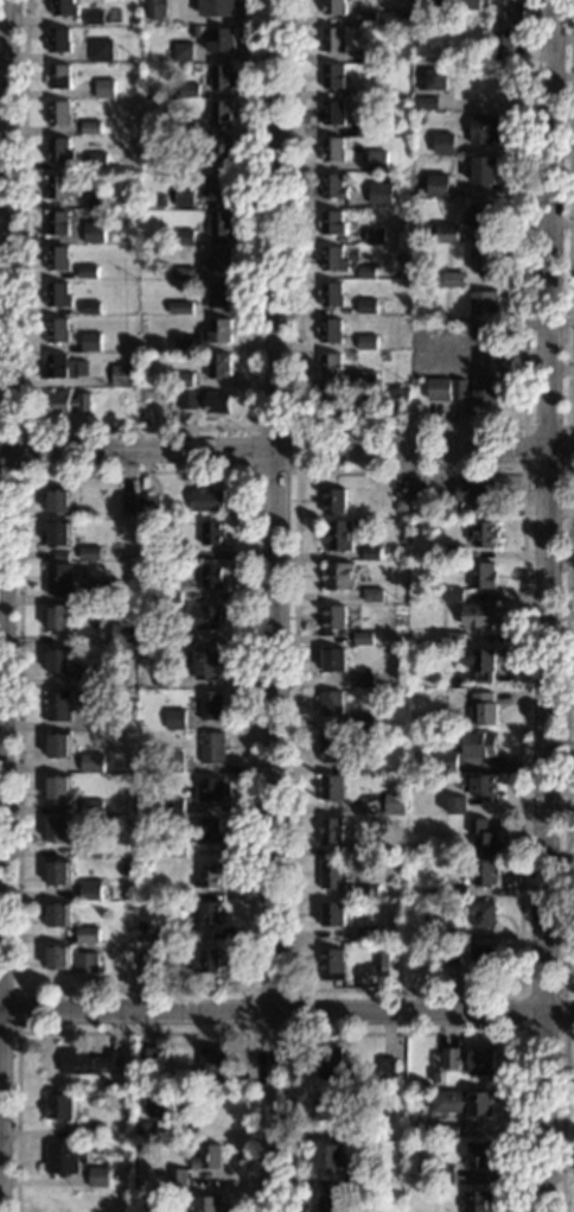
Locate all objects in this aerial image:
building: (508, 1)
building: (428, 5)
building: (465, 5)
building: (64, 7)
building: (217, 7)
building: (334, 7)
building: (157, 8)
building: (95, 17)
building: (365, 17)
building: (404, 17)
building: (135, 31)
building: (193, 31)
building: (332, 39)
building: (58, 40)
building: (222, 40)
building: (503, 44)
building: (100, 50)
building: (375, 52)
building: (181, 53)
building: (417, 65)
building: (58, 76)
building: (221, 76)
building: (332, 76)
building: (433, 78)
building: (103, 88)
building: (189, 90)
building: (359, 91)
building: (426, 102)
building: (58, 113)
building: (219, 113)
building: (332, 113)
building: (420, 119)
building: (90, 127)
building: (185, 127)
building: (364, 127)
building: (484, 128)
building: (444, 144)
building: (58, 150)
building: (219, 150)
building: (332, 150)
building: (199, 158)
building: (96, 161)
building: (184, 163)
building: (380, 163)
road: (1, 166)
building: (484, 171)
building: (438, 185)
building: (59, 186)
building: (217, 186)
building: (332, 186)
building: (459, 192)
building: (382, 193)
building: (96, 197)
building: (183, 197)
building: (161, 199)
road: (570, 215)
building: (485, 217)
building: (57, 222)
building: (332, 222)
building: (219, 223)
building: (429, 229)
building: (94, 231)
building: (448, 233)
building: (185, 235)
building: (366, 235)
building: (164, 240)
building: (57, 258)
building: (219, 258)
building: (485, 258)
building: (332, 259)
building: (366, 271)
building: (87, 272)
building: (181, 272)
building: (453, 279)
building: (454, 292)
building: (218, 293)
building: (331, 293)
building: (57, 296)
building: (485, 303)
building: (366, 305)
building: (180, 306)
building: (90, 307)
building: (461, 323)
building: (56, 330)
building: (330, 330)
building: (216, 331)
building: (433, 334)
building: (90, 341)
building: (368, 342)
building: (183, 343)
building: (460, 354)
building: (218, 364)
building: (331, 366)
building: (60, 367)
building: (122, 375)
building: (181, 379)
building: (366, 379)
building: (439, 388)
building: (478, 391)
building: (396, 398)
building: (187, 399)
building: (65, 401)
building: (330, 402)
building: (217, 404)
road: (569, 426)
road: (135, 427)
road: (298, 427)
road: (412, 427)
road: (20, 449)
road: (286, 449)
road: (523, 471)
road: (253, 472)
building: (415, 477)
building: (477, 494)
building: (208, 500)
building: (334, 500)
building: (401, 500)
building: (59, 501)
building: (128, 503)
building: (148, 505)
building: (401, 525)
building: (212, 532)
building: (59, 533)
building: (484, 534)
building: (338, 535)
building: (89, 552)
building: (453, 552)
building: (184, 553)
building: (371, 553)
building: (212, 573)
building: (483, 575)
building: (338, 576)
building: (58, 578)
building: (171, 592)
building: (89, 594)
building: (372, 594)
building: (158, 595)
building: (454, 595)
road: (272, 605)
road: (548, 605)
building: (478, 615)
building: (57, 617)
building: (206, 617)
building: (333, 617)
building: (122, 634)
building: (171, 637)
building: (363, 637)
building: (455, 637)
building: (141, 640)
building: (428, 656)
building: (58, 660)
building: (332, 660)
building: (208, 662)
building: (480, 662)
building: (90, 678)
building: (166, 678)
building: (363, 680)
building: (400, 681)
building: (330, 703)
building: (57, 705)
building: (211, 705)
building: (483, 709)
building: (125, 717)
building: (176, 719)
building: (103, 721)
building: (364, 722)
road: (566, 732)
building: (479, 743)
building: (58, 744)
building: (212, 748)
building: (331, 748)
building: (445, 759)
building: (172, 762)
building: (91, 763)
building: (370, 767)
building: (353, 769)
building: (480, 785)
building: (330, 786)
building: (57, 788)
building: (209, 788)
building: (394, 800)
building: (171, 805)
building: (457, 805)
building: (90, 807)
building: (57, 830)
building: (208, 830)
building: (330, 831)
building: (483, 836)
building: (89, 848)
building: (176, 850)
building: (366, 850)
building: (126, 871)
building: (56, 872)
building: (484, 872)
building: (331, 874)
building: (210, 875)
building: (89, 889)
building: (366, 891)
building: (457, 891)
building: (126, 907)
building: (210, 913)
building: (483, 913)
building: (56, 914)
building: (330, 914)
building: (183, 932)
building: (365, 932)
building: (87, 934)
building: (457, 934)
building: (138, 937)
building: (152, 938)
building: (189, 945)
building: (452, 953)
building: (56, 957)
building: (381, 957)
building: (481, 957)
building: (206, 960)
building: (84, 962)
building: (146, 962)
building: (331, 964)
road: (521, 990)
road: (17, 1010)
road: (287, 1016)
road: (132, 1033)
road: (291, 1033)
road: (406, 1034)
building: (145, 1055)
building: (470, 1060)
building: (85, 1062)
building: (210, 1062)
building: (332, 1065)
building: (385, 1068)
building: (436, 1075)
building: (106, 1085)
building: (378, 1086)
building: (464, 1103)
building: (154, 1104)
building: (58, 1106)
building: (329, 1106)
road: (563, 1118)
building: (142, 1130)
building: (449, 1130)
building: (89, 1131)
building: (435, 1131)
building: (356, 1132)
building: (479, 1154)
building: (327, 1156)
building: (60, 1157)
building: (206, 1157)
building: (394, 1170)
building: (111, 1175)
building: (442, 1175)
building: (97, 1176)
building: (176, 1176)
building: (355, 1181)
building: (477, 1200)
building: (52, 1201)
building: (141, 1203)
building: (327, 1203)
building: (203, 1204)
building: (395, 1205)

